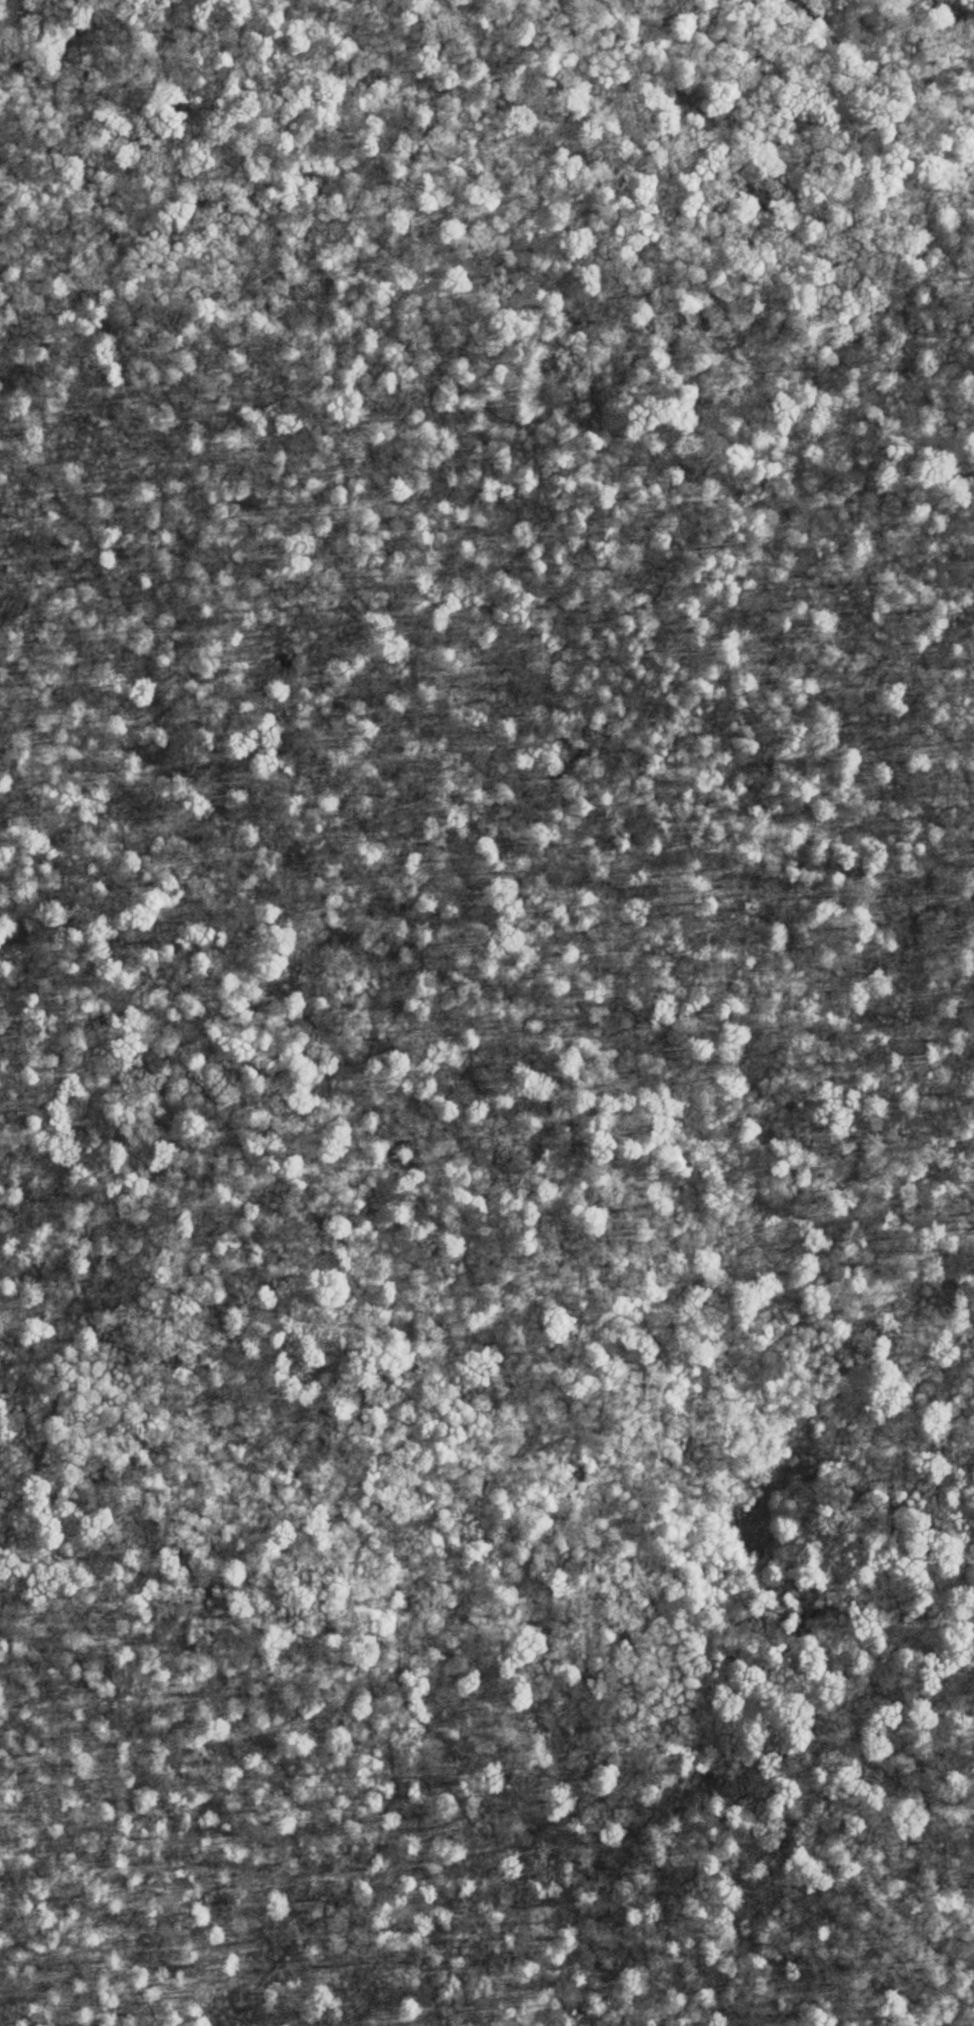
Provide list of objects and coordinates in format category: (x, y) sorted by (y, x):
road: (489, 781)
park: (487, 1013)
road: (280, 1460)
road: (784, 1650)
road: (478, 1755)
road: (359, 1884)

